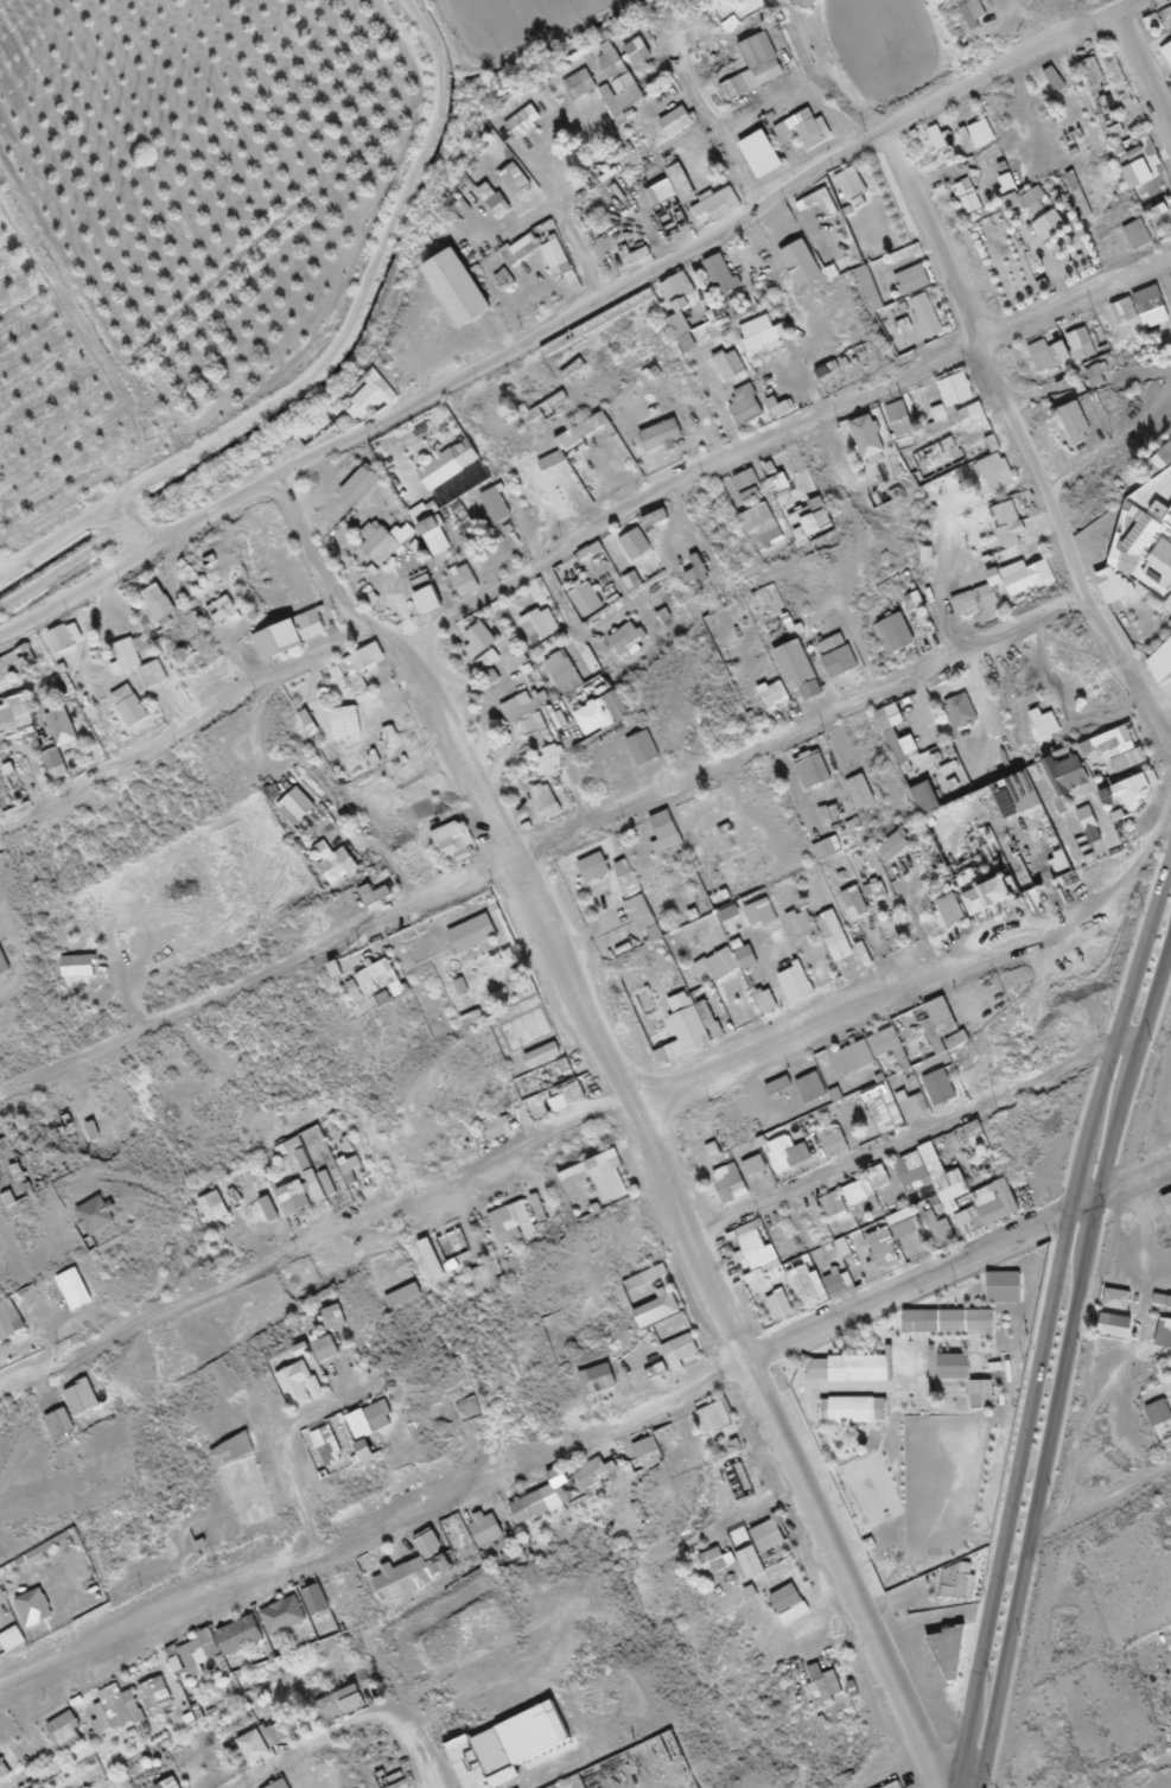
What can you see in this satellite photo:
road: (422, 40)
road: (1138, 84)
road: (715, 129)
road: (558, 209)
road: (706, 237)
road: (286, 389)
road: (777, 434)
road: (1016, 446)
road: (1109, 446)
road: (1162, 494)
road: (206, 516)
road: (123, 528)
road: (307, 560)
road: (62, 568)
road: (72, 596)
road: (184, 733)
road: (325, 790)
road: (541, 847)
road: (598, 1115)
road: (917, 1134)
road: (667, 1185)
road: (1046, 1321)
road: (1065, 1364)
road: (587, 1433)
road: (1101, 1504)

